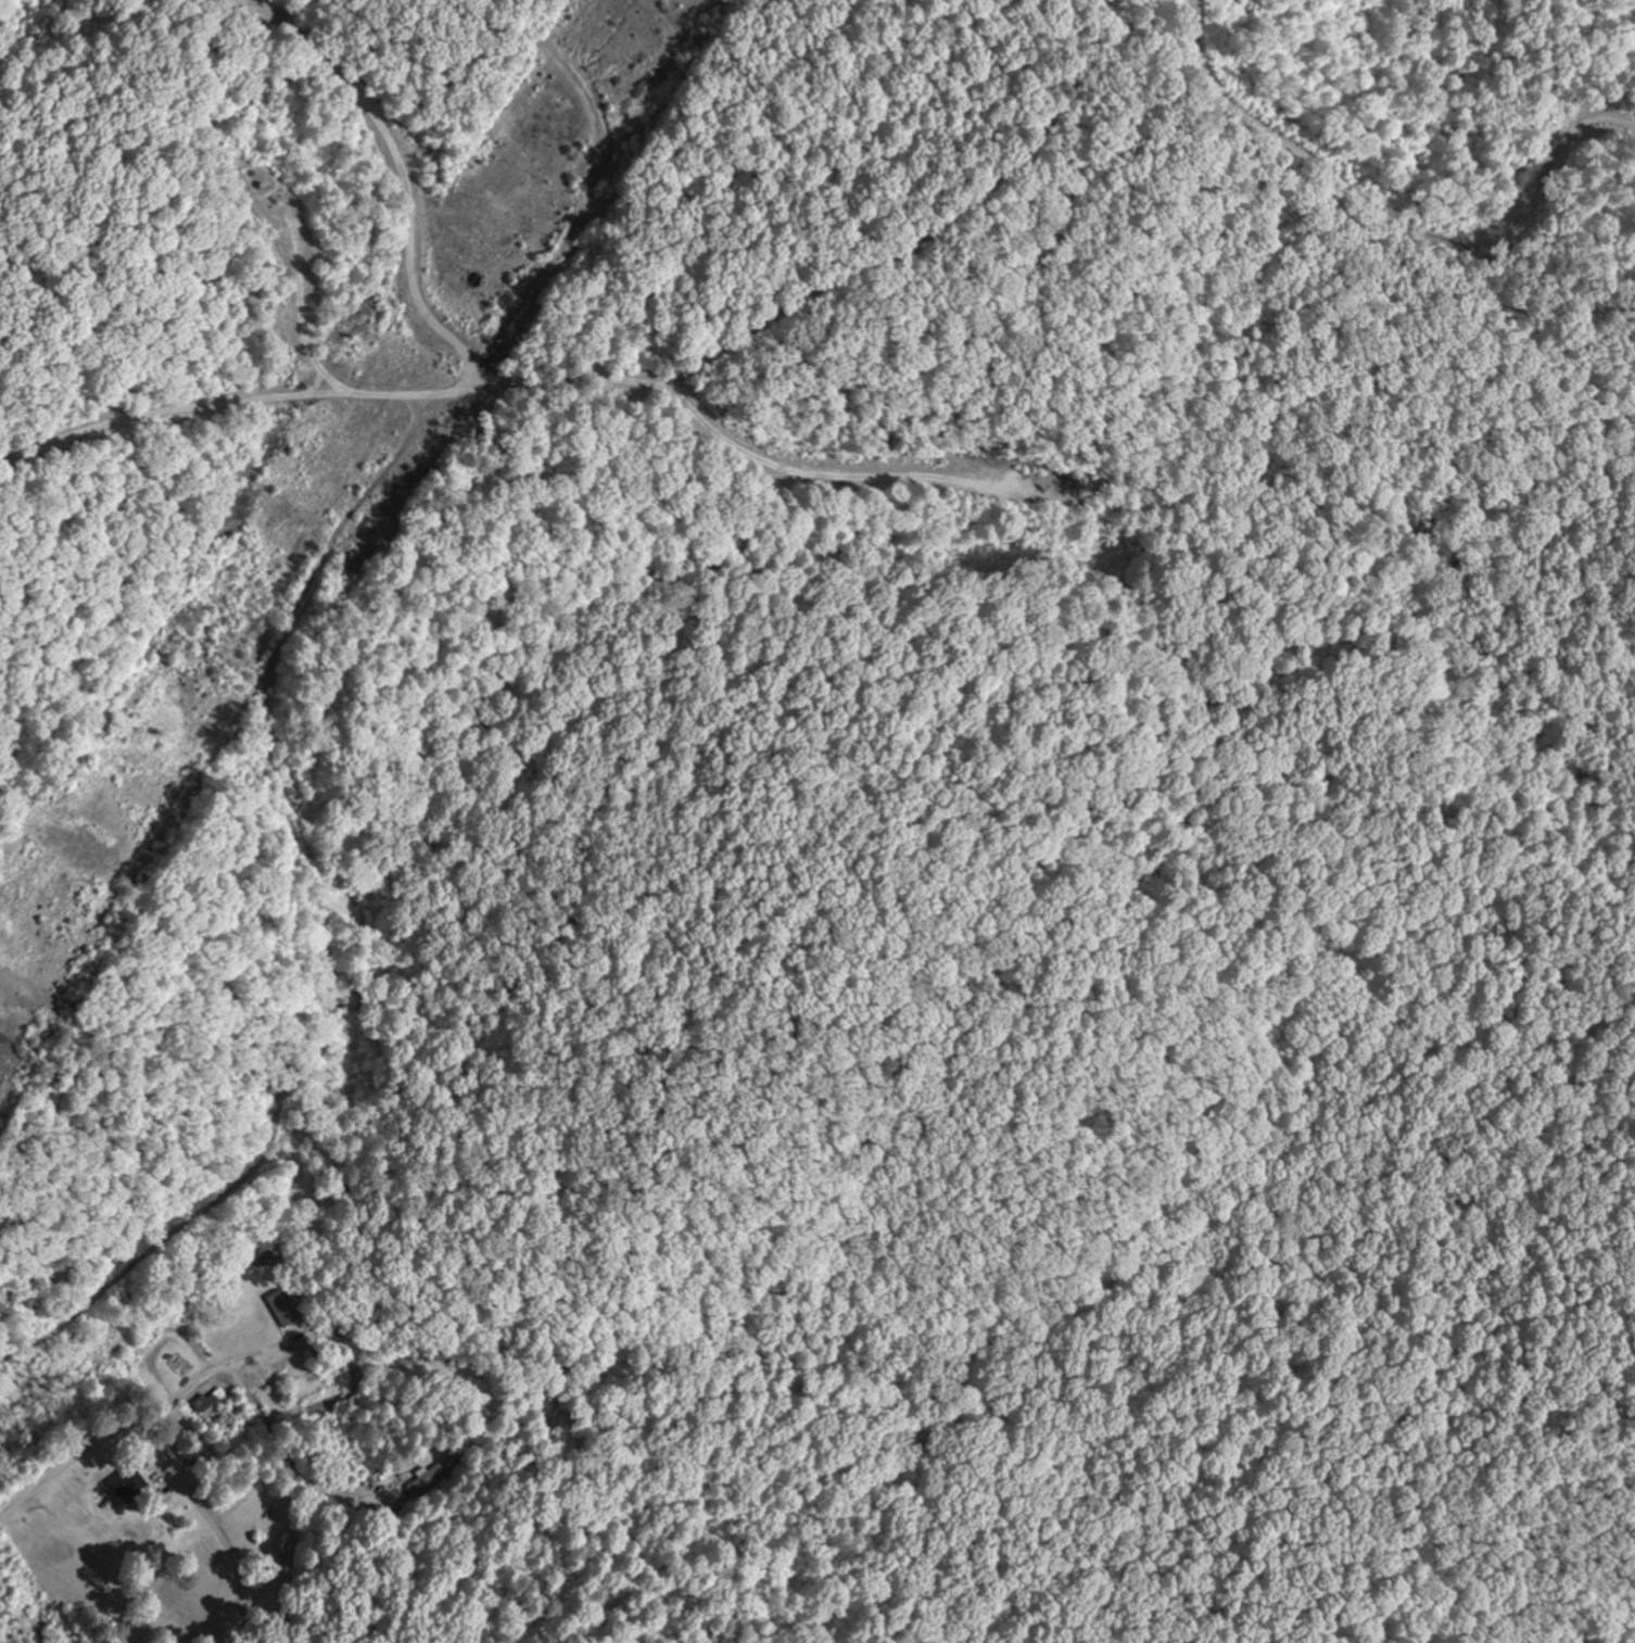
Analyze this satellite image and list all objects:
building: (282, 1306)
road: (136, 1424)
building: (428, 1475)
building: (128, 1483)

